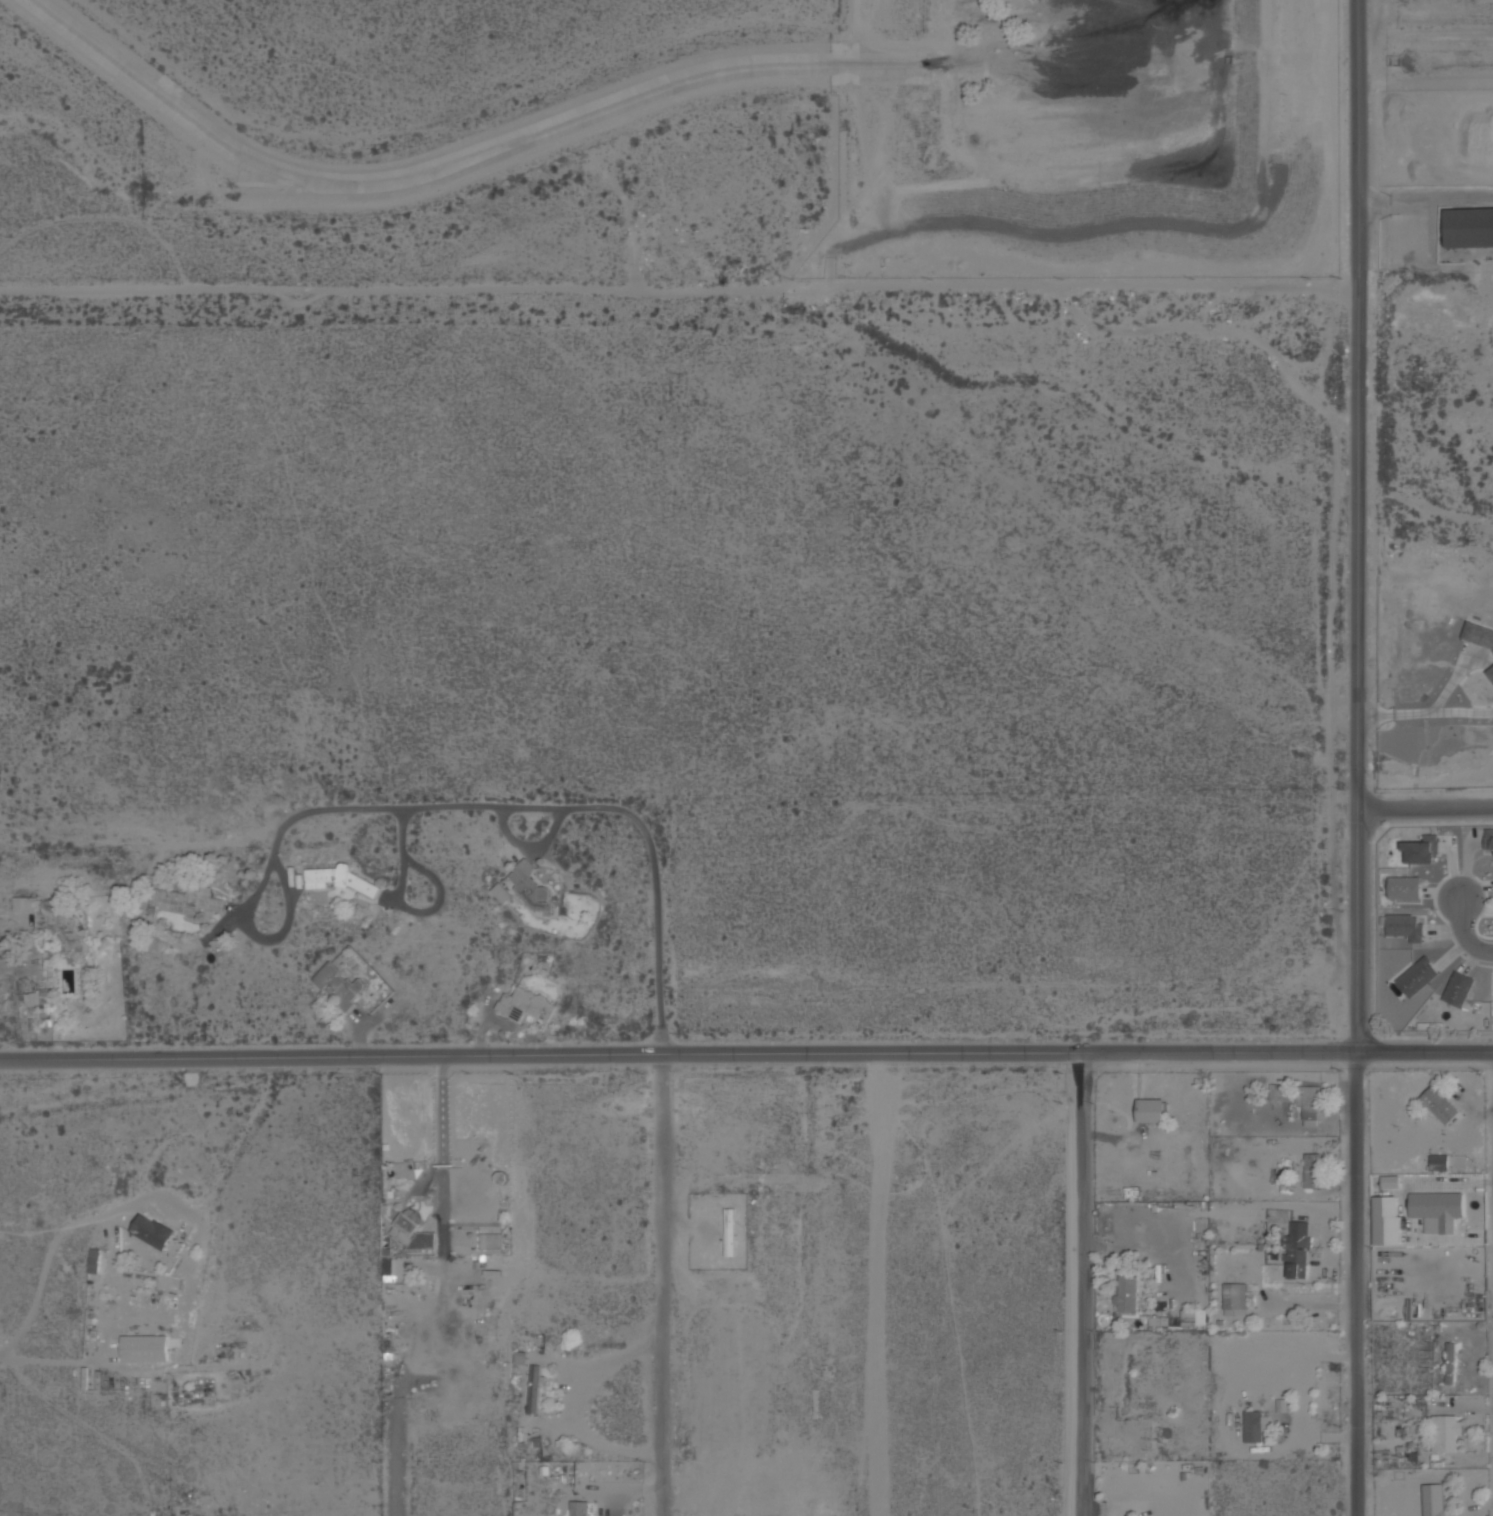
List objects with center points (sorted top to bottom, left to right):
road: (1358, 12)
road: (1425, 37)
road: (1426, 81)
dam: (1166, 219)
building: (1469, 227)
building: (1478, 634)
building: (1490, 672)
road: (1451, 681)
road: (1424, 712)
road: (1355, 769)
road: (1424, 807)
road: (549, 809)
building: (1488, 838)
building: (1420, 849)
building: (1403, 888)
building: (529, 889)
building: (1404, 926)
road: (1465, 933)
road: (4, 967)
building: (1417, 976)
building: (1458, 988)
building: (525, 1005)
road: (746, 1051)
building: (1309, 1104)
building: (1439, 1104)
building: (1151, 1110)
road: (441, 1138)
building: (1438, 1162)
building: (1311, 1170)
building: (1390, 1181)
building: (1436, 1210)
building: (1385, 1220)
building: (151, 1232)
building: (729, 1232)
building: (412, 1233)
building: (488, 1240)
building: (1296, 1249)
building: (93, 1261)
road: (665, 1283)
road: (1081, 1283)
building: (1126, 1293)
building: (1234, 1297)
building: (1181, 1319)
building: (142, 1348)
building: (1449, 1371)
building: (533, 1388)
road: (1303, 1397)
road: (577, 1405)
building: (1255, 1425)
building: (1446, 1432)
building: (1441, 1498)
building: (579, 1508)
road: (1130, 1508)

